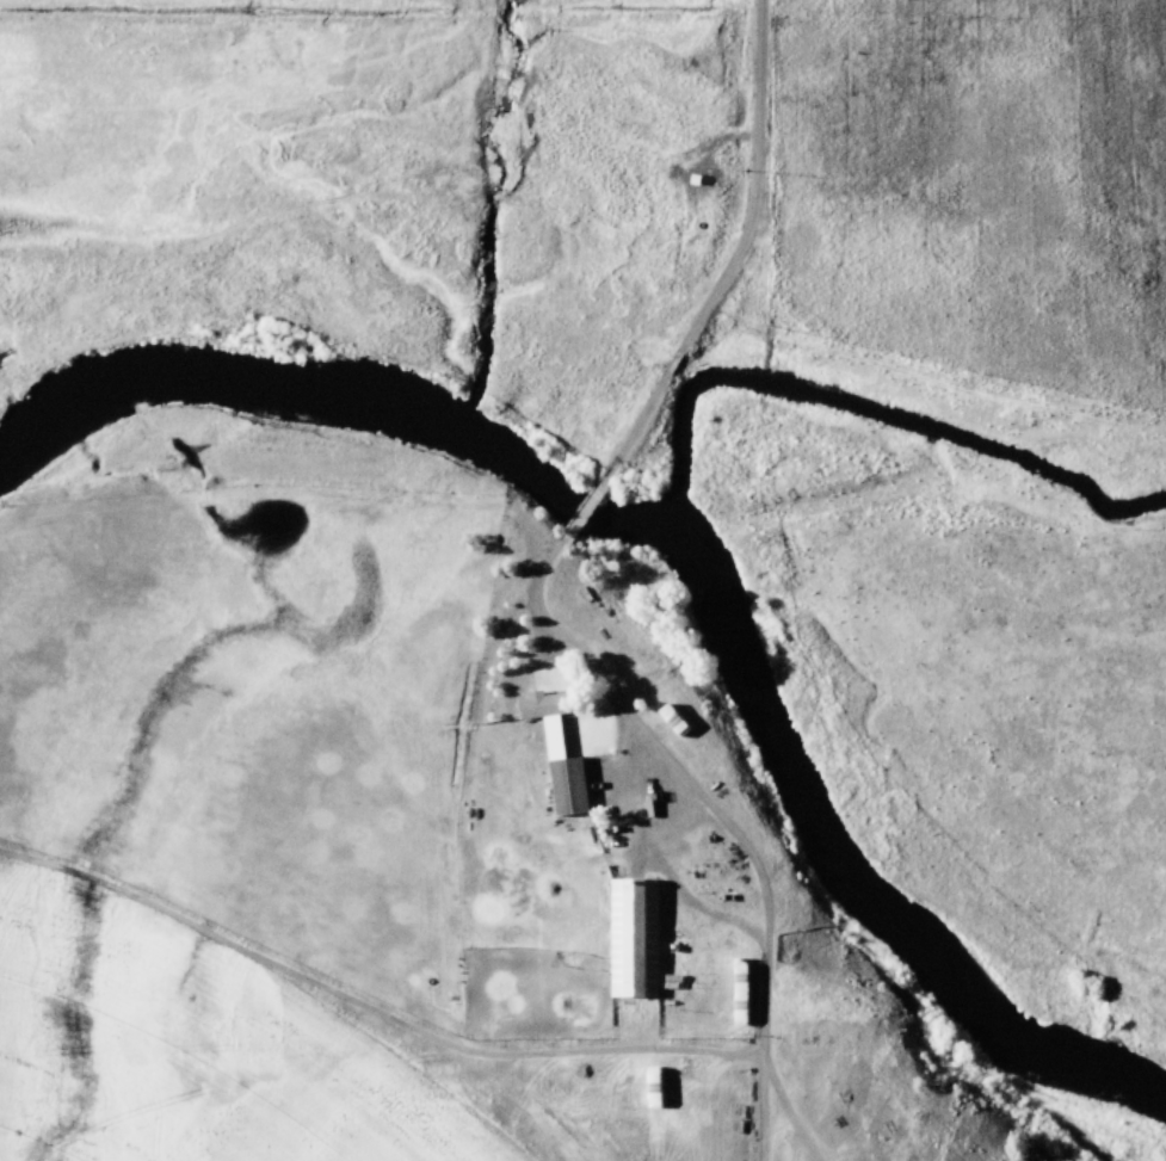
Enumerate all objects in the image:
road: (734, 253)
road: (582, 510)
river: (703, 551)
building: (557, 752)
road: (721, 816)
building: (633, 939)

